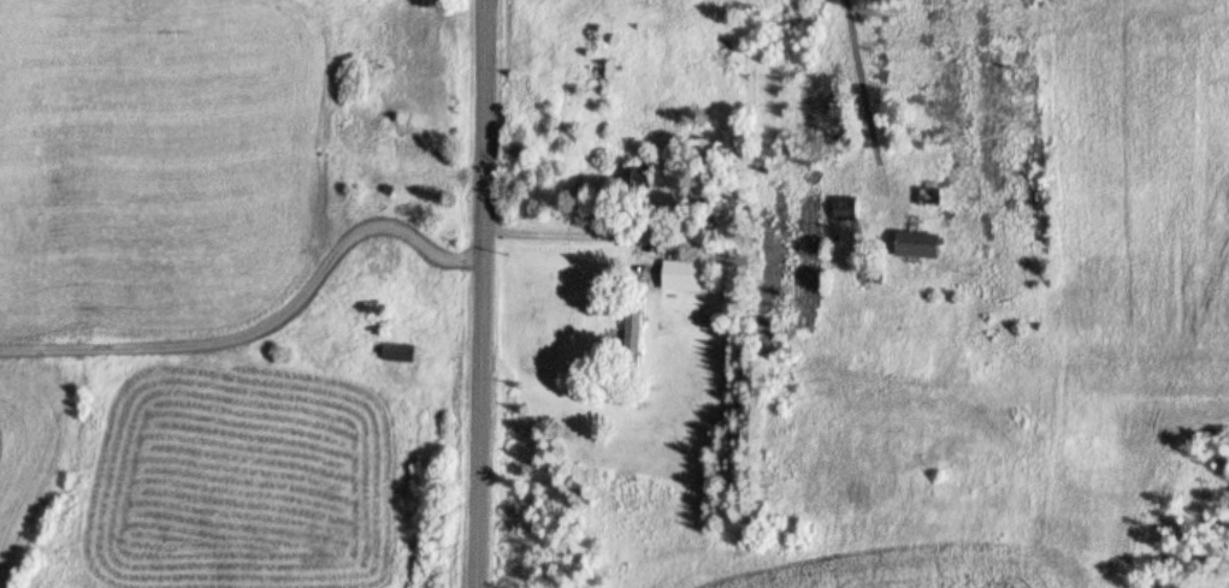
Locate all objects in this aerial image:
road: (861, 112)
building: (637, 184)
building: (930, 197)
building: (845, 210)
building: (922, 245)
building: (681, 277)
road: (490, 293)
road: (270, 323)
building: (633, 326)
building: (406, 350)

